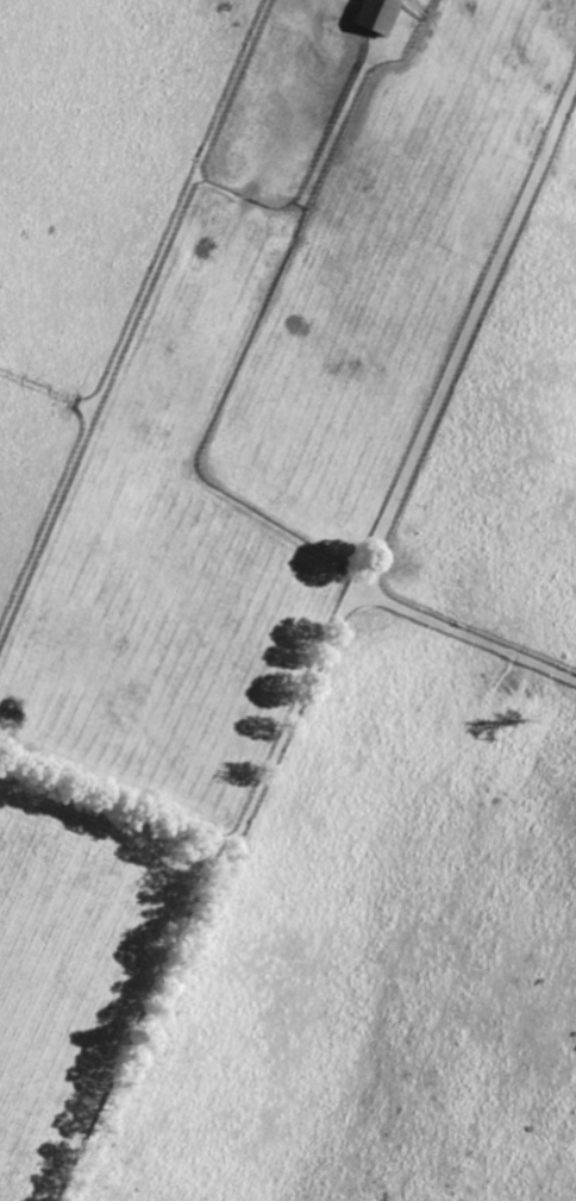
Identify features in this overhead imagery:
building: (375, 15)

